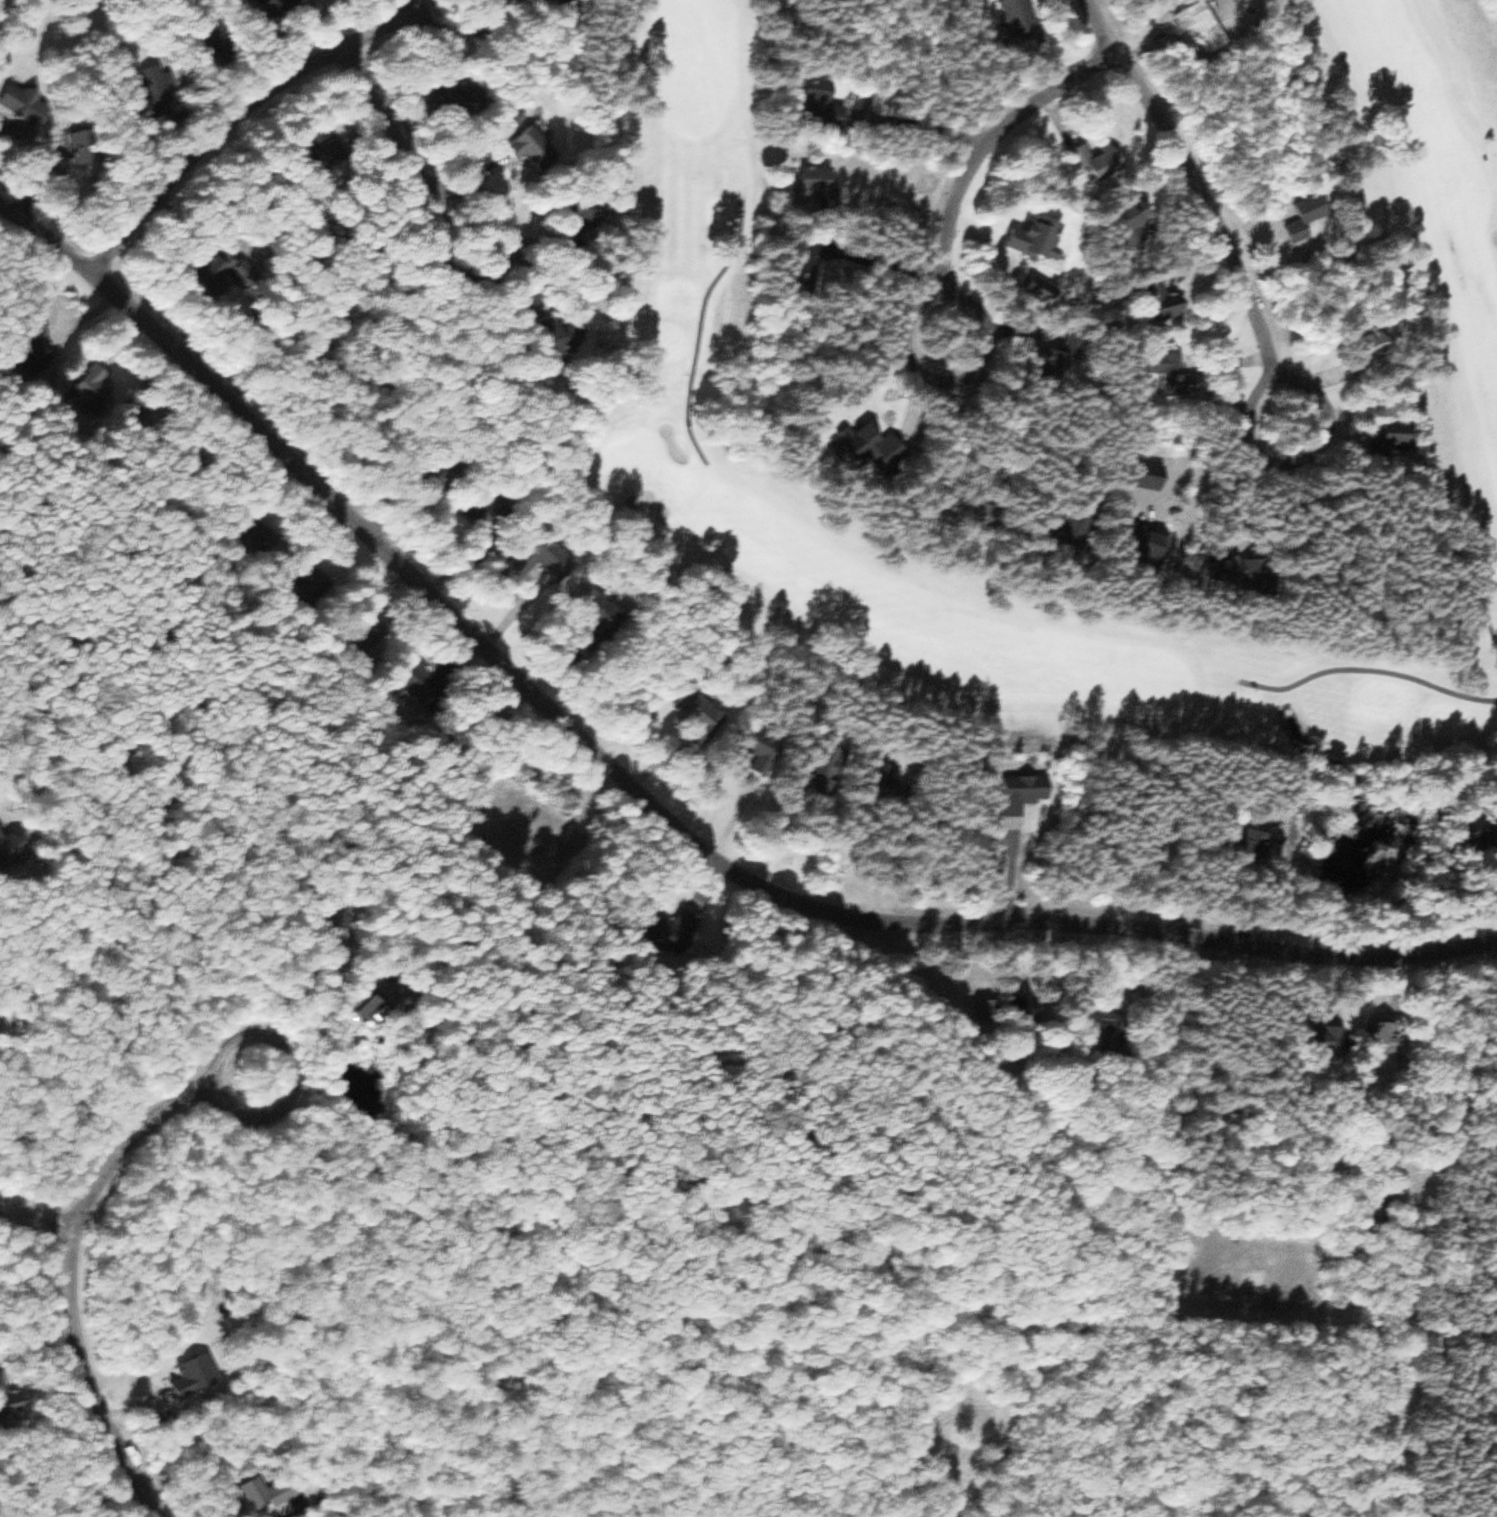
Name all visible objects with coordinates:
building: (288, 7)
building: (1024, 23)
road: (1097, 27)
building: (446, 98)
building: (27, 102)
building: (828, 105)
road: (249, 125)
road: (389, 136)
building: (538, 152)
building: (1103, 159)
building: (824, 186)
building: (597, 210)
building: (1293, 227)
building: (1042, 237)
road: (948, 268)
building: (212, 269)
building: (1146, 301)
building: (569, 332)
road: (1253, 332)
park: (958, 338)
building: (48, 341)
building: (1356, 348)
building: (1157, 375)
building: (96, 393)
building: (1377, 440)
building: (878, 445)
building: (976, 511)
building: (530, 562)
building: (1229, 573)
building: (704, 711)
building: (1027, 793)
road: (650, 804)
building: (1458, 834)
building: (1235, 843)
building: (10, 850)
building: (680, 920)
building: (1031, 1006)
building: (991, 1010)
building: (1372, 1038)
building: (1307, 1039)
building: (1363, 1209)
road: (35, 1224)
road: (72, 1258)
building: (198, 1378)
building: (3, 1384)
building: (272, 1494)

